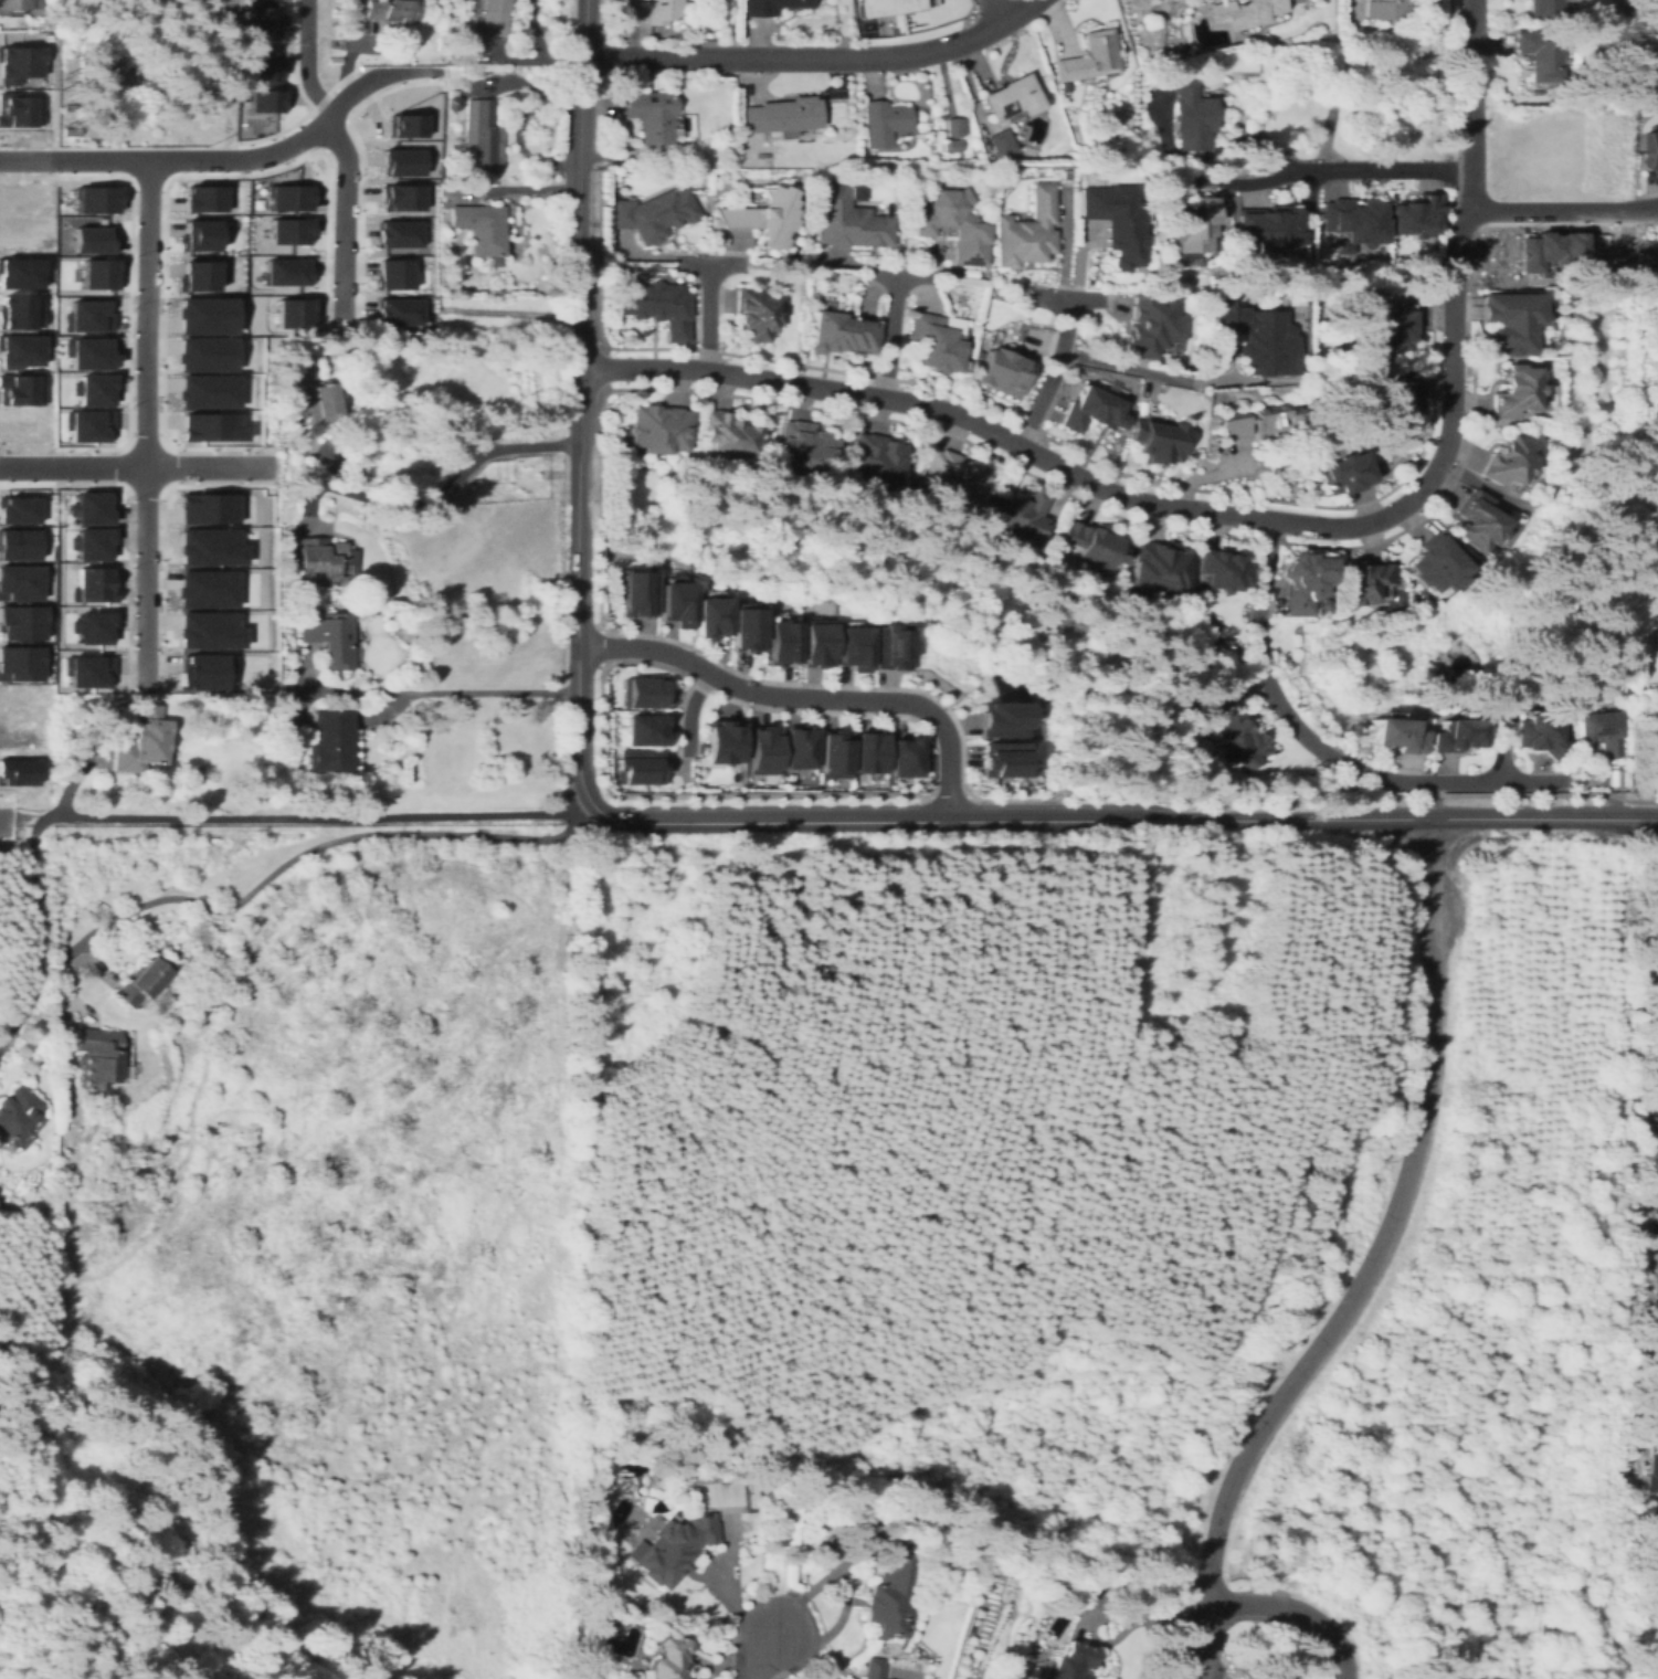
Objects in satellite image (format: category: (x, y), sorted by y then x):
building: (17, 4)
building: (768, 7)
building: (1655, 8)
building: (885, 9)
building: (1384, 9)
building: (1543, 9)
road: (993, 10)
building: (377, 11)
building: (659, 11)
building: (1245, 12)
building: (487, 17)
building: (253, 21)
road: (535, 45)
building: (1655, 46)
building: (15, 57)
building: (1089, 57)
building: (1540, 57)
road: (815, 59)
road: (299, 60)
building: (253, 63)
road: (389, 67)
road: (1472, 70)
building: (102, 77)
building: (1656, 83)
road: (330, 92)
building: (180, 93)
building: (258, 97)
building: (1013, 98)
building: (15, 109)
building: (1189, 113)
road: (295, 115)
building: (782, 115)
building: (648, 116)
building: (401, 120)
road: (302, 122)
building: (883, 123)
building: (954, 126)
road: (327, 133)
building: (479, 135)
road: (22, 141)
building: (997, 142)
building: (951, 145)
building: (1652, 152)
road: (192, 158)
building: (399, 158)
road: (358, 171)
road: (1376, 172)
road: (1471, 175)
road: (142, 176)
road: (1238, 180)
road: (578, 184)
road: (517, 187)
building: (400, 193)
road: (160, 196)
building: (193, 199)
building: (17, 200)
building: (279, 200)
building: (86, 202)
road: (1647, 207)
road: (1552, 209)
building: (654, 214)
building: (1415, 215)
building: (763, 217)
building: (847, 220)
road: (344, 221)
building: (1113, 221)
road: (1462, 222)
building: (1351, 223)
building: (953, 224)
building: (1193, 226)
building: (1268, 228)
building: (480, 229)
building: (395, 231)
building: (1025, 231)
building: (282, 232)
building: (17, 234)
building: (87, 237)
building: (190, 237)
building: (1556, 249)
building: (1656, 249)
building: (19, 270)
building: (392, 271)
building: (279, 272)
building: (190, 274)
building: (84, 275)
building: (442, 275)
building: (442, 289)
building: (656, 305)
building: (15, 309)
building: (397, 309)
road: (125, 311)
building: (293, 311)
building: (203, 314)
building: (753, 314)
building: (85, 315)
road: (709, 316)
building: (1510, 319)
building: (1150, 324)
building: (951, 325)
building: (1385, 327)
building: (841, 332)
building: (1257, 336)
road: (893, 337)
building: (936, 342)
building: (19, 349)
building: (86, 351)
building: (203, 352)
road: (1112, 363)
road: (604, 368)
building: (1001, 371)
road: (1054, 373)
building: (15, 388)
building: (91, 388)
building: (205, 390)
building: (1512, 391)
building: (1397, 397)
building: (314, 402)
building: (1091, 411)
road: (600, 415)
building: (17, 422)
building: (1260, 422)
building: (85, 423)
road: (145, 423)
building: (209, 425)
building: (659, 429)
building: (728, 433)
building: (1155, 441)
road: (145, 447)
building: (802, 448)
road: (1077, 453)
road: (284, 456)
building: (878, 457)
building: (1507, 463)
road: (125, 465)
road: (137, 465)
road: (161, 465)
building: (1345, 473)
building: (953, 477)
road: (144, 483)
road: (437, 490)
road: (1141, 504)
building: (87, 506)
building: (204, 507)
building: (17, 509)
building: (1017, 515)
building: (1477, 521)
road: (127, 525)
road: (161, 532)
building: (88, 542)
building: (15, 543)
building: (1092, 543)
building: (208, 546)
building: (323, 562)
building: (1436, 562)
building: (1161, 567)
building: (1222, 570)
building: (1303, 578)
building: (1358, 579)
building: (17, 582)
building: (91, 583)
building: (205, 587)
road: (577, 590)
building: (641, 595)
building: (679, 603)
building: (715, 617)
building: (19, 621)
building: (91, 625)
building: (207, 629)
building: (750, 630)
building: (329, 638)
building: (785, 642)
road: (645, 646)
building: (821, 646)
building: (894, 647)
road: (600, 648)
building: (856, 648)
building: (18, 662)
building: (85, 669)
building: (202, 670)
road: (434, 691)
building: (644, 693)
building: (1626, 693)
building: (18, 699)
road: (875, 700)
road: (690, 708)
road: (884, 715)
building: (997, 720)
building: (75, 722)
building: (646, 730)
building: (1598, 730)
building: (1540, 733)
building: (1398, 735)
building: (1458, 735)
building: (19, 736)
building: (140, 741)
building: (330, 741)
building: (1239, 741)
building: (725, 742)
building: (801, 749)
building: (765, 750)
road: (1322, 751)
building: (873, 752)
building: (836, 753)
building: (907, 758)
building: (1001, 759)
building: (642, 767)
building: (18, 771)
building: (205, 771)
building: (409, 777)
road: (948, 794)
road: (4, 800)
road: (1429, 800)
road: (318, 817)
road: (4, 819)
road: (1645, 819)
road: (1111, 820)
road: (288, 859)
road: (34, 930)
building: (1656, 951)
building: (144, 976)
building: (94, 1057)
building: (14, 1108)
building: (1654, 1121)
building: (1656, 1149)
building: (1656, 1218)
road: (1372, 1266)
building: (1655, 1271)
building: (1651, 1469)
building: (683, 1542)
park: (947, 1574)
building: (886, 1599)
building: (1066, 1607)
road: (1297, 1611)
road: (1147, 1614)
road: (765, 1656)
building: (667, 1657)
building: (1068, 1661)
building: (870, 1667)

